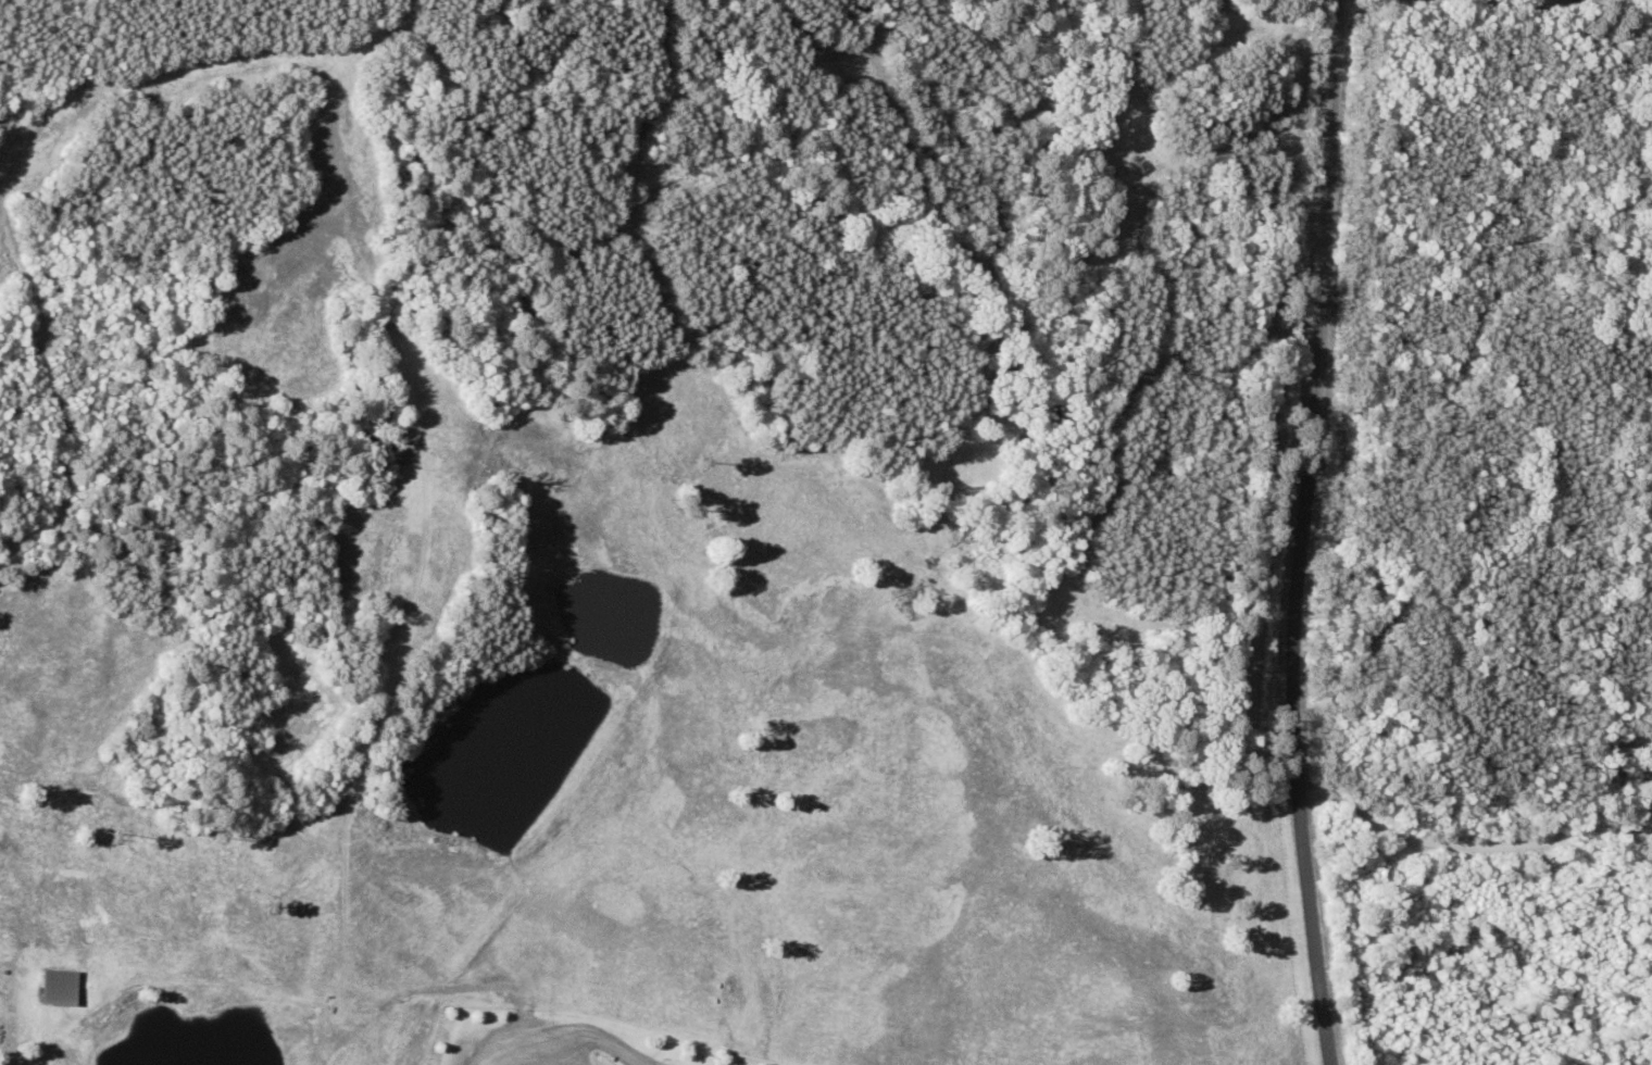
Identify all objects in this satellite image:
road: (1489, 2)
road: (1349, 9)
road: (1303, 532)
road: (1469, 848)
building: (41, 988)

